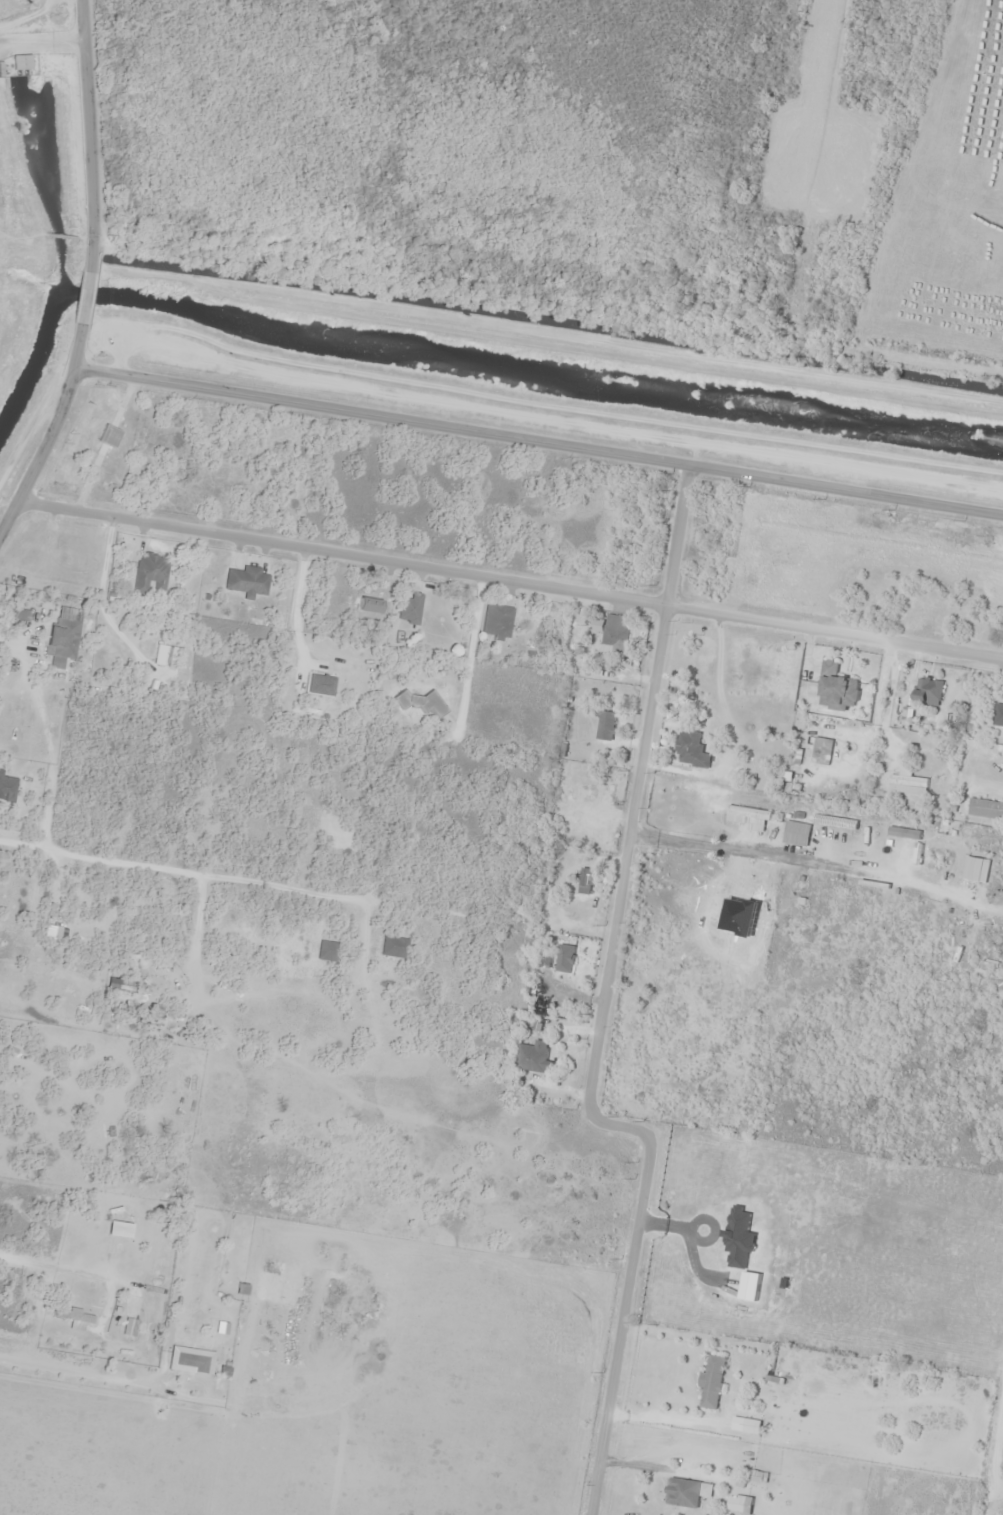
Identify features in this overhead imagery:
building: (17, 62)
road: (78, 182)
road: (546, 439)
road: (39, 440)
road: (675, 533)
building: (148, 573)
road: (509, 578)
building: (245, 581)
building: (358, 605)
building: (407, 609)
building: (16, 614)
building: (495, 619)
building: (615, 630)
building: (62, 634)
building: (311, 688)
building: (836, 689)
building: (929, 691)
building: (418, 702)
building: (998, 715)
building: (606, 726)
building: (821, 750)
building: (691, 751)
building: (907, 785)
building: (985, 809)
road: (624, 861)
building: (587, 881)
building: (391, 947)
building: (327, 952)
road: (325, 1056)
building: (533, 1058)
building: (72, 1319)
road: (619, 1325)
building: (127, 1328)
building: (711, 1382)
building: (682, 1493)
building: (738, 1505)

